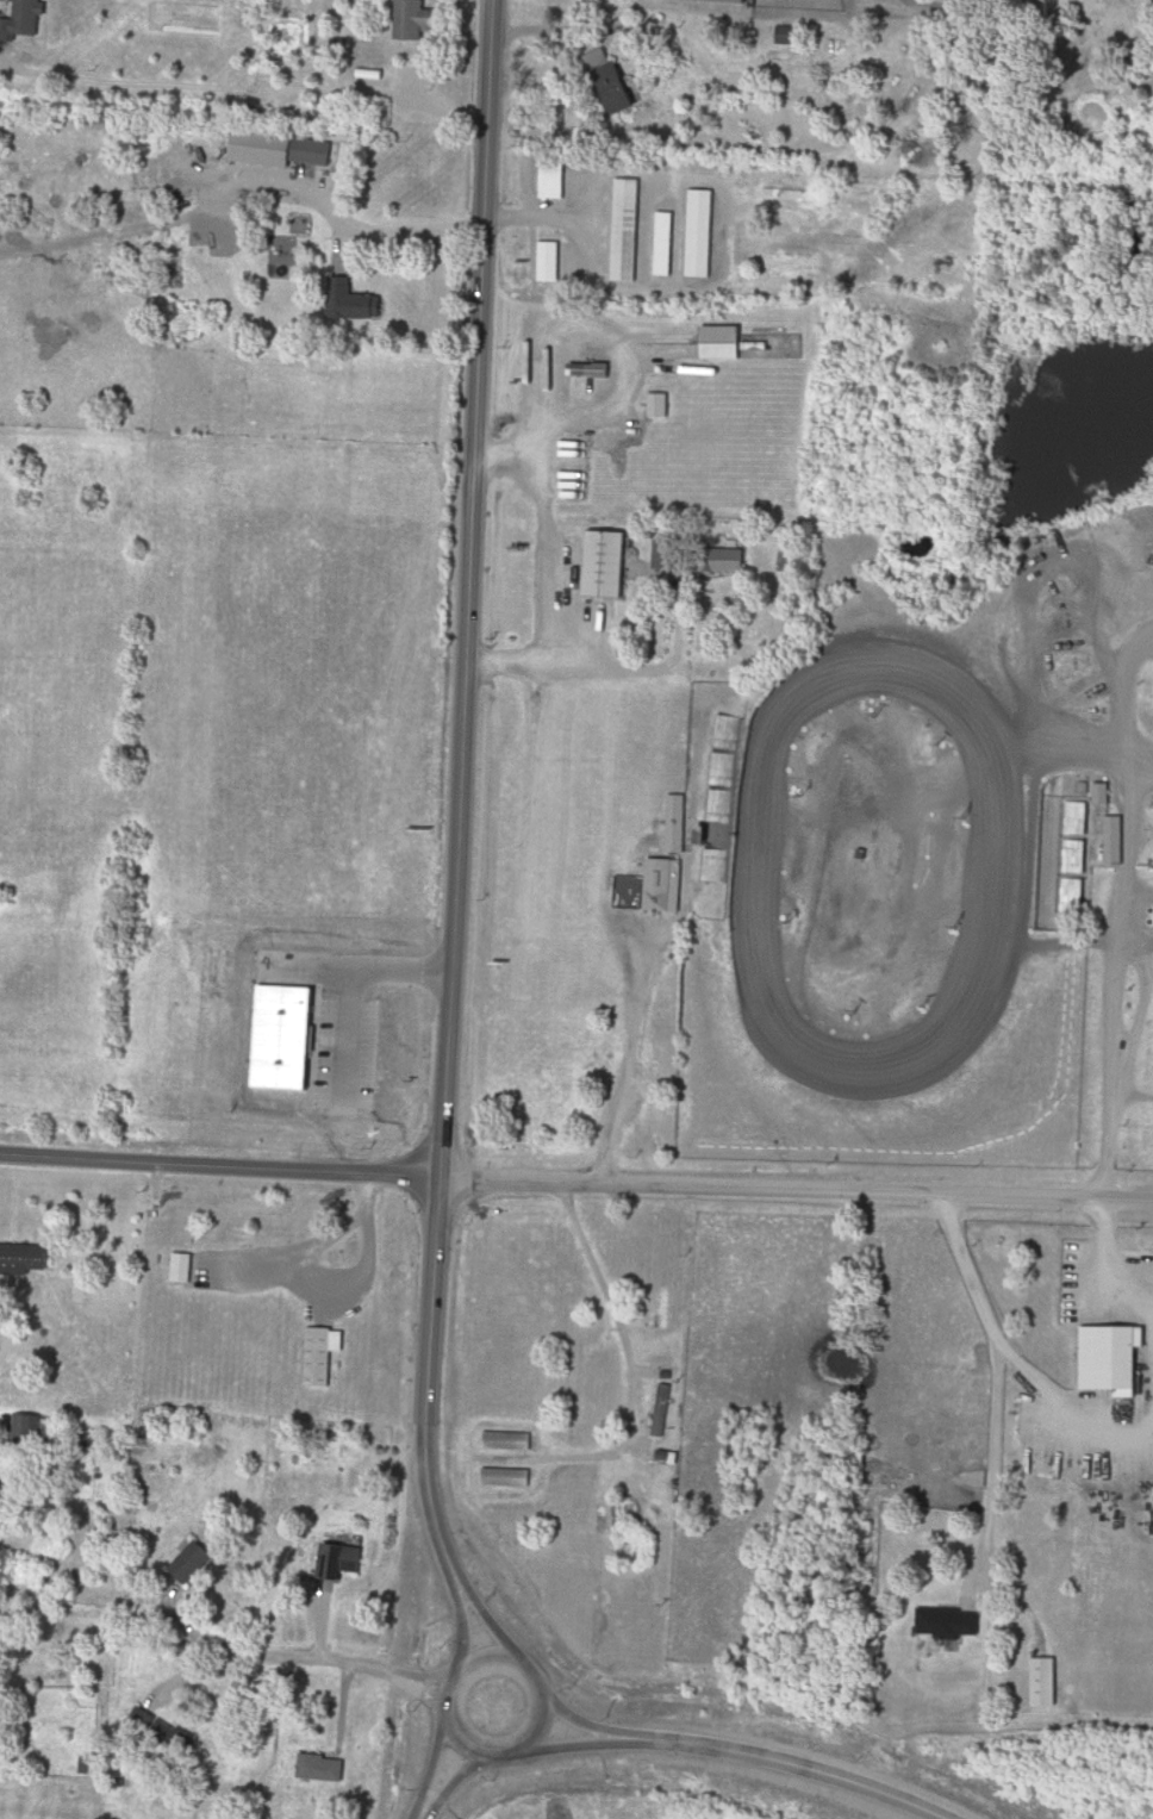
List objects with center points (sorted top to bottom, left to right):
building: (412, 20)
building: (24, 21)
building: (792, 37)
building: (612, 82)
road: (249, 87)
building: (311, 154)
building: (553, 180)
building: (628, 230)
building: (703, 233)
building: (667, 244)
building: (550, 262)
building: (794, 274)
building: (353, 301)
building: (724, 343)
road: (623, 361)
building: (659, 406)
building: (694, 555)
building: (606, 565)
road: (540, 600)
road: (654, 671)
building: (1066, 675)
road: (1126, 706)
road: (447, 793)
building: (679, 823)
building: (1115, 840)
building: (660, 885)
road: (1121, 914)
raceway: (971, 979)
road: (634, 1069)
road: (213, 1169)
road: (790, 1192)
road: (306, 1251)
building: (26, 1259)
road: (1113, 1266)
building: (183, 1267)
road: (354, 1276)
building: (665, 1309)
road: (624, 1348)
building: (323, 1354)
building: (1114, 1358)
road: (1068, 1404)
building: (662, 1419)
building: (507, 1441)
road: (992, 1458)
building: (506, 1478)
building: (343, 1562)
building: (197, 1563)
road: (476, 1621)
building: (951, 1622)
road: (451, 1624)
road: (258, 1658)
road: (470, 1659)
road: (407, 1677)
road: (400, 1690)
road: (573, 1725)
road: (563, 1748)
road: (423, 1761)
road: (771, 1762)
building: (322, 1768)
building: (532, 1768)
road: (448, 1776)
building: (1064, 1802)
road: (417, 1811)

